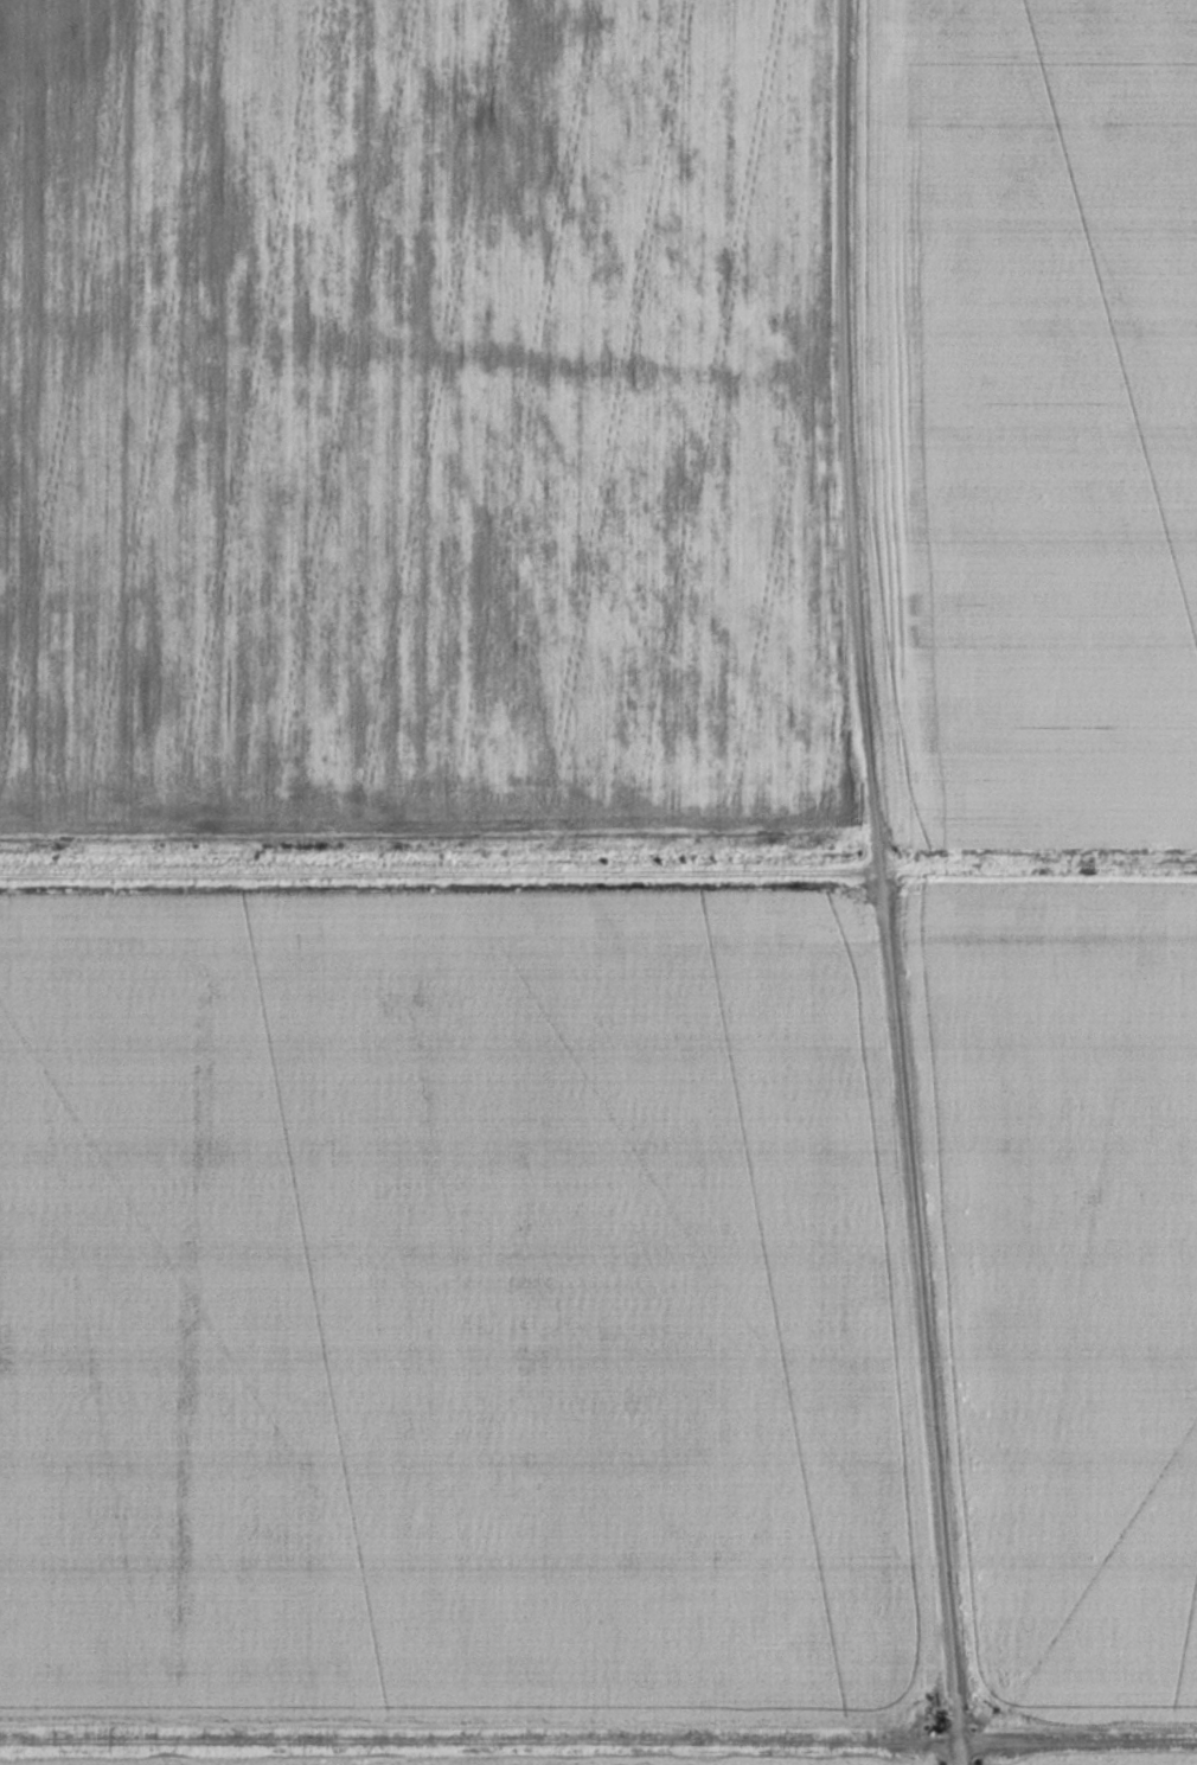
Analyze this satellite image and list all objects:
road: (885, 883)

